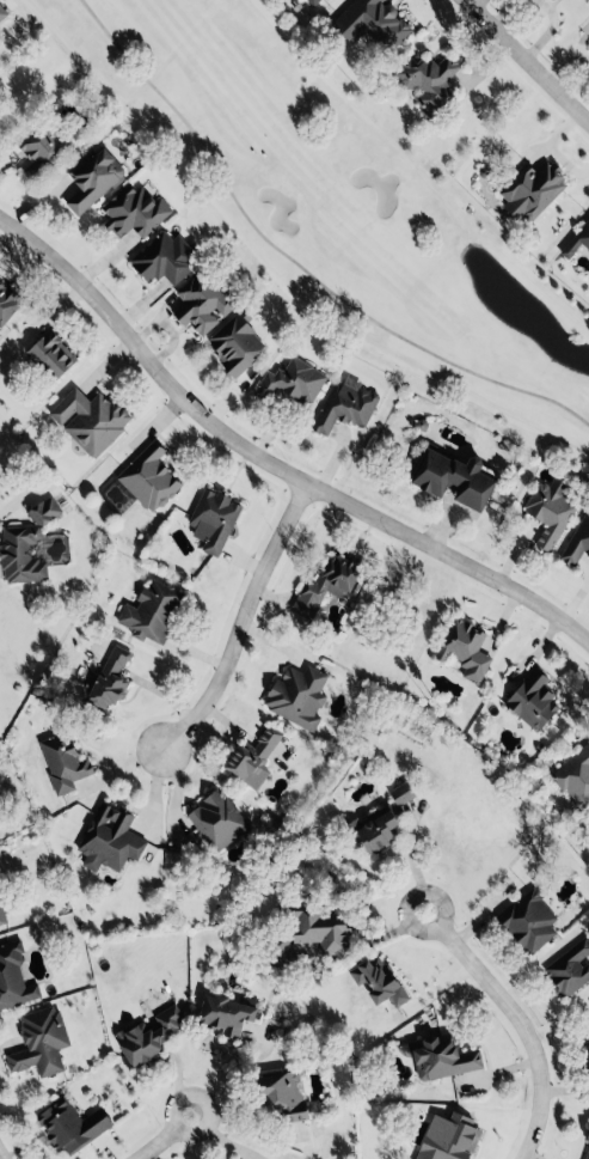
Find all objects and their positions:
building: (588, 0)
building: (309, 1)
building: (1, 10)
building: (368, 22)
building: (588, 41)
road: (532, 54)
building: (424, 79)
building: (37, 147)
building: (90, 177)
building: (527, 191)
building: (130, 209)
building: (578, 238)
building: (161, 257)
road: (290, 268)
building: (6, 299)
building: (198, 301)
building: (233, 341)
building: (49, 354)
building: (289, 380)
building: (342, 404)
building: (80, 420)
road: (270, 455)
building: (145, 476)
building: (450, 476)
building: (545, 510)
building: (209, 518)
building: (576, 539)
building: (26, 541)
building: (321, 582)
building: (151, 610)
road: (243, 617)
building: (460, 647)
building: (106, 677)
building: (289, 697)
building: (529, 700)
building: (249, 754)
building: (60, 761)
building: (573, 775)
building: (397, 793)
building: (213, 818)
building: (372, 828)
building: (105, 837)
building: (1, 914)
building: (524, 919)
building: (317, 927)
building: (275, 950)
building: (567, 965)
building: (11, 976)
building: (375, 981)
building: (222, 1012)
road: (523, 1019)
building: (154, 1036)
building: (36, 1041)
building: (441, 1056)
building: (588, 1056)
building: (281, 1093)
building: (68, 1123)
road: (164, 1136)
road: (7, 1146)
building: (585, 1147)
building: (235, 1158)

